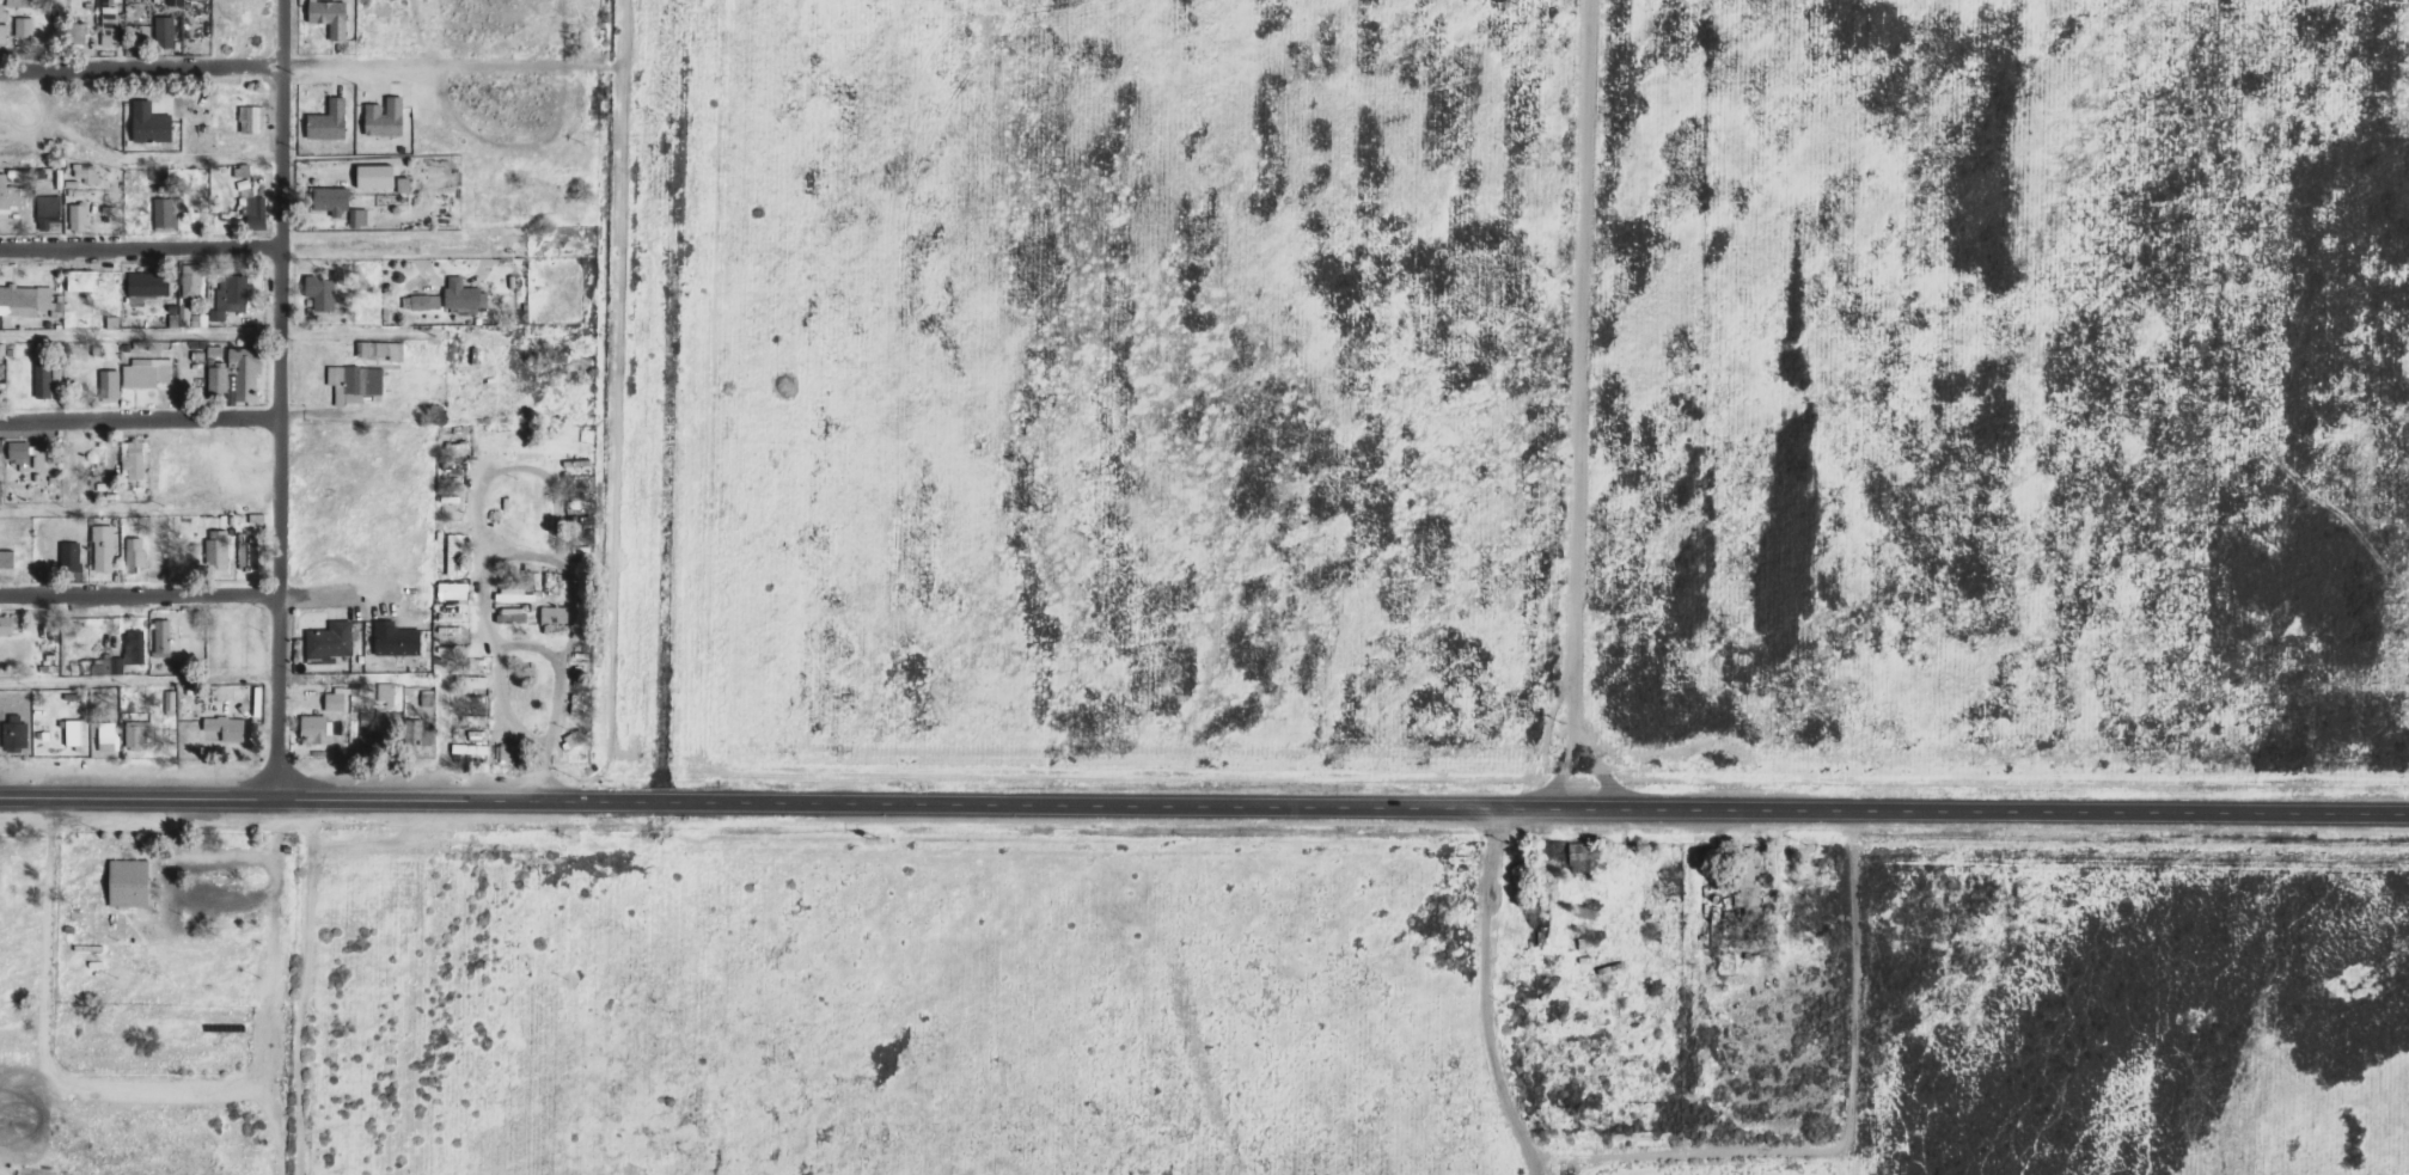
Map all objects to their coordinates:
building: (178, 2)
building: (332, 17)
building: (4, 24)
building: (111, 25)
building: (26, 26)
building: (166, 31)
building: (78, 32)
road: (286, 33)
road: (446, 66)
road: (142, 69)
building: (387, 116)
building: (255, 118)
building: (330, 121)
building: (152, 123)
building: (88, 172)
building: (378, 176)
building: (405, 184)
building: (11, 194)
building: (252, 200)
building: (334, 200)
road: (606, 209)
building: (50, 212)
building: (166, 212)
building: (360, 216)
building: (80, 218)
road: (302, 246)
building: (82, 280)
building: (194, 280)
building: (149, 283)
building: (323, 293)
building: (465, 294)
building: (232, 295)
building: (25, 300)
building: (423, 301)
building: (201, 319)
building: (383, 349)
building: (2, 350)
building: (148, 372)
building: (44, 380)
building: (356, 383)
building: (109, 384)
crop: (1516, 387)
road: (503, 418)
road: (200, 421)
road: (285, 430)
building: (2, 445)
building: (20, 452)
building: (136, 458)
building: (104, 547)
building: (219, 549)
building: (455, 550)
building: (136, 552)
building: (72, 555)
building: (251, 555)
building: (455, 590)
building: (516, 594)
road: (221, 599)
building: (513, 614)
building: (556, 614)
building: (7, 625)
building: (164, 638)
building: (397, 638)
building: (332, 639)
building: (136, 643)
road: (410, 666)
building: (475, 681)
building: (387, 693)
building: (428, 697)
building: (337, 699)
building: (172, 702)
building: (228, 727)
building: (318, 728)
building: (17, 730)
building: (75, 733)
building: (139, 734)
building: (109, 738)
building: (471, 749)
building: (510, 752)
road: (1204, 800)
building: (124, 885)
park: (26, 951)

